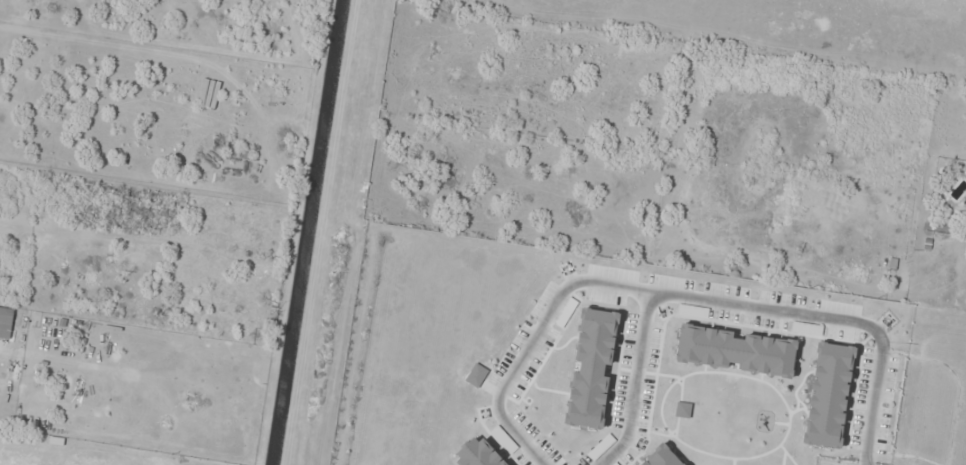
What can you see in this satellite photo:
building: (6, 323)

